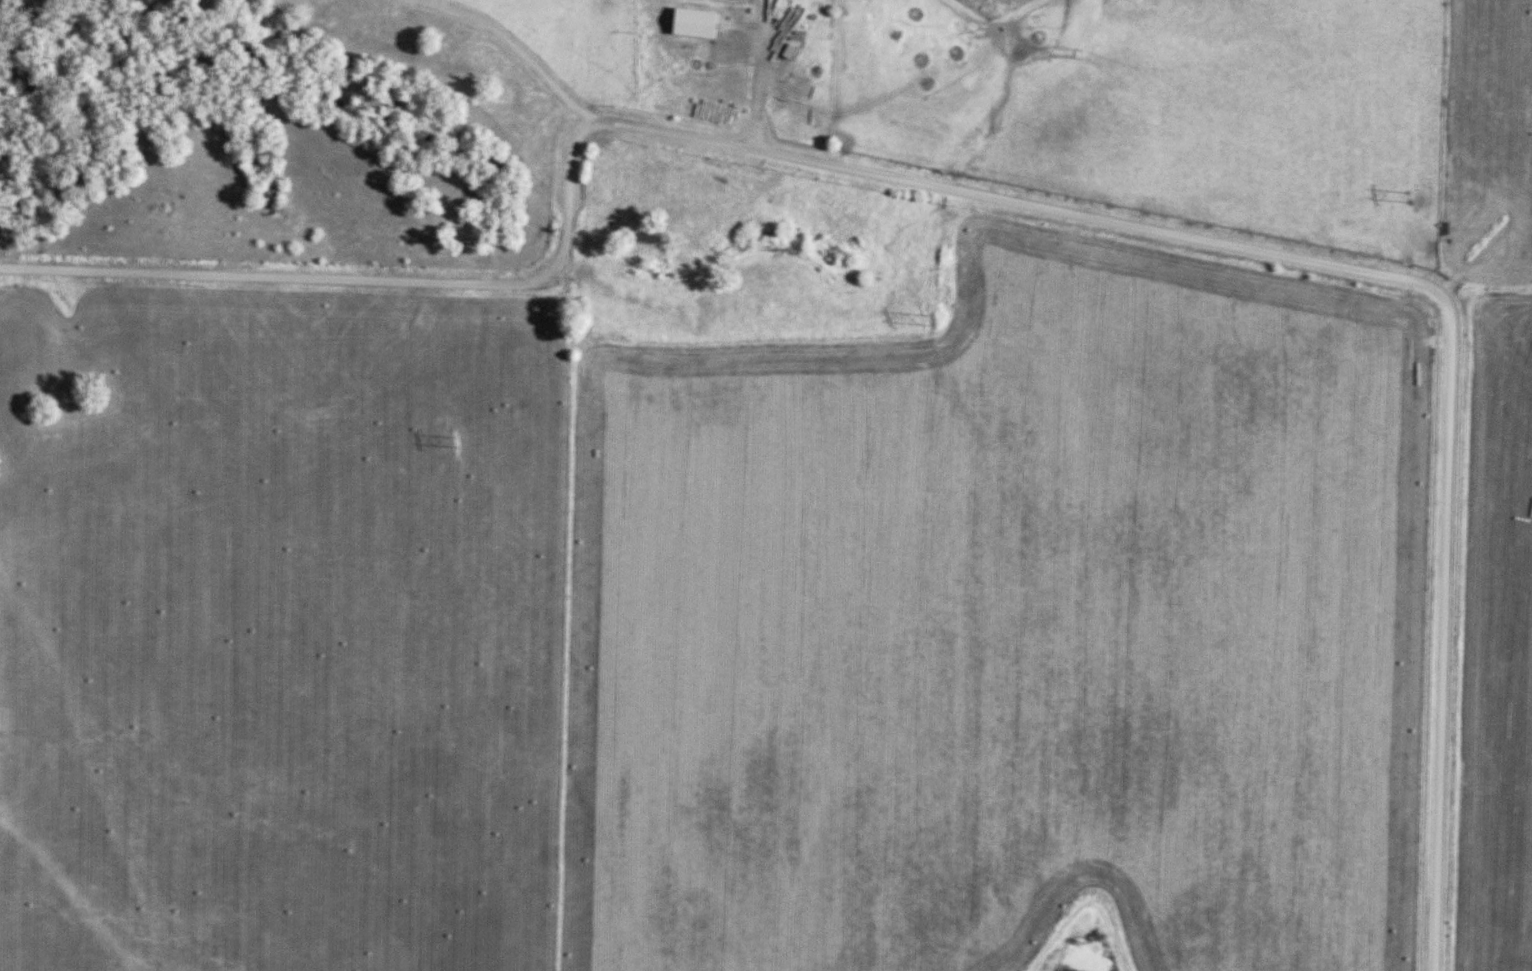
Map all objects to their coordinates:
road: (514, 48)
road: (765, 77)
power tower: (1406, 199)
road: (999, 200)
power tower: (919, 321)
power tower: (446, 443)

